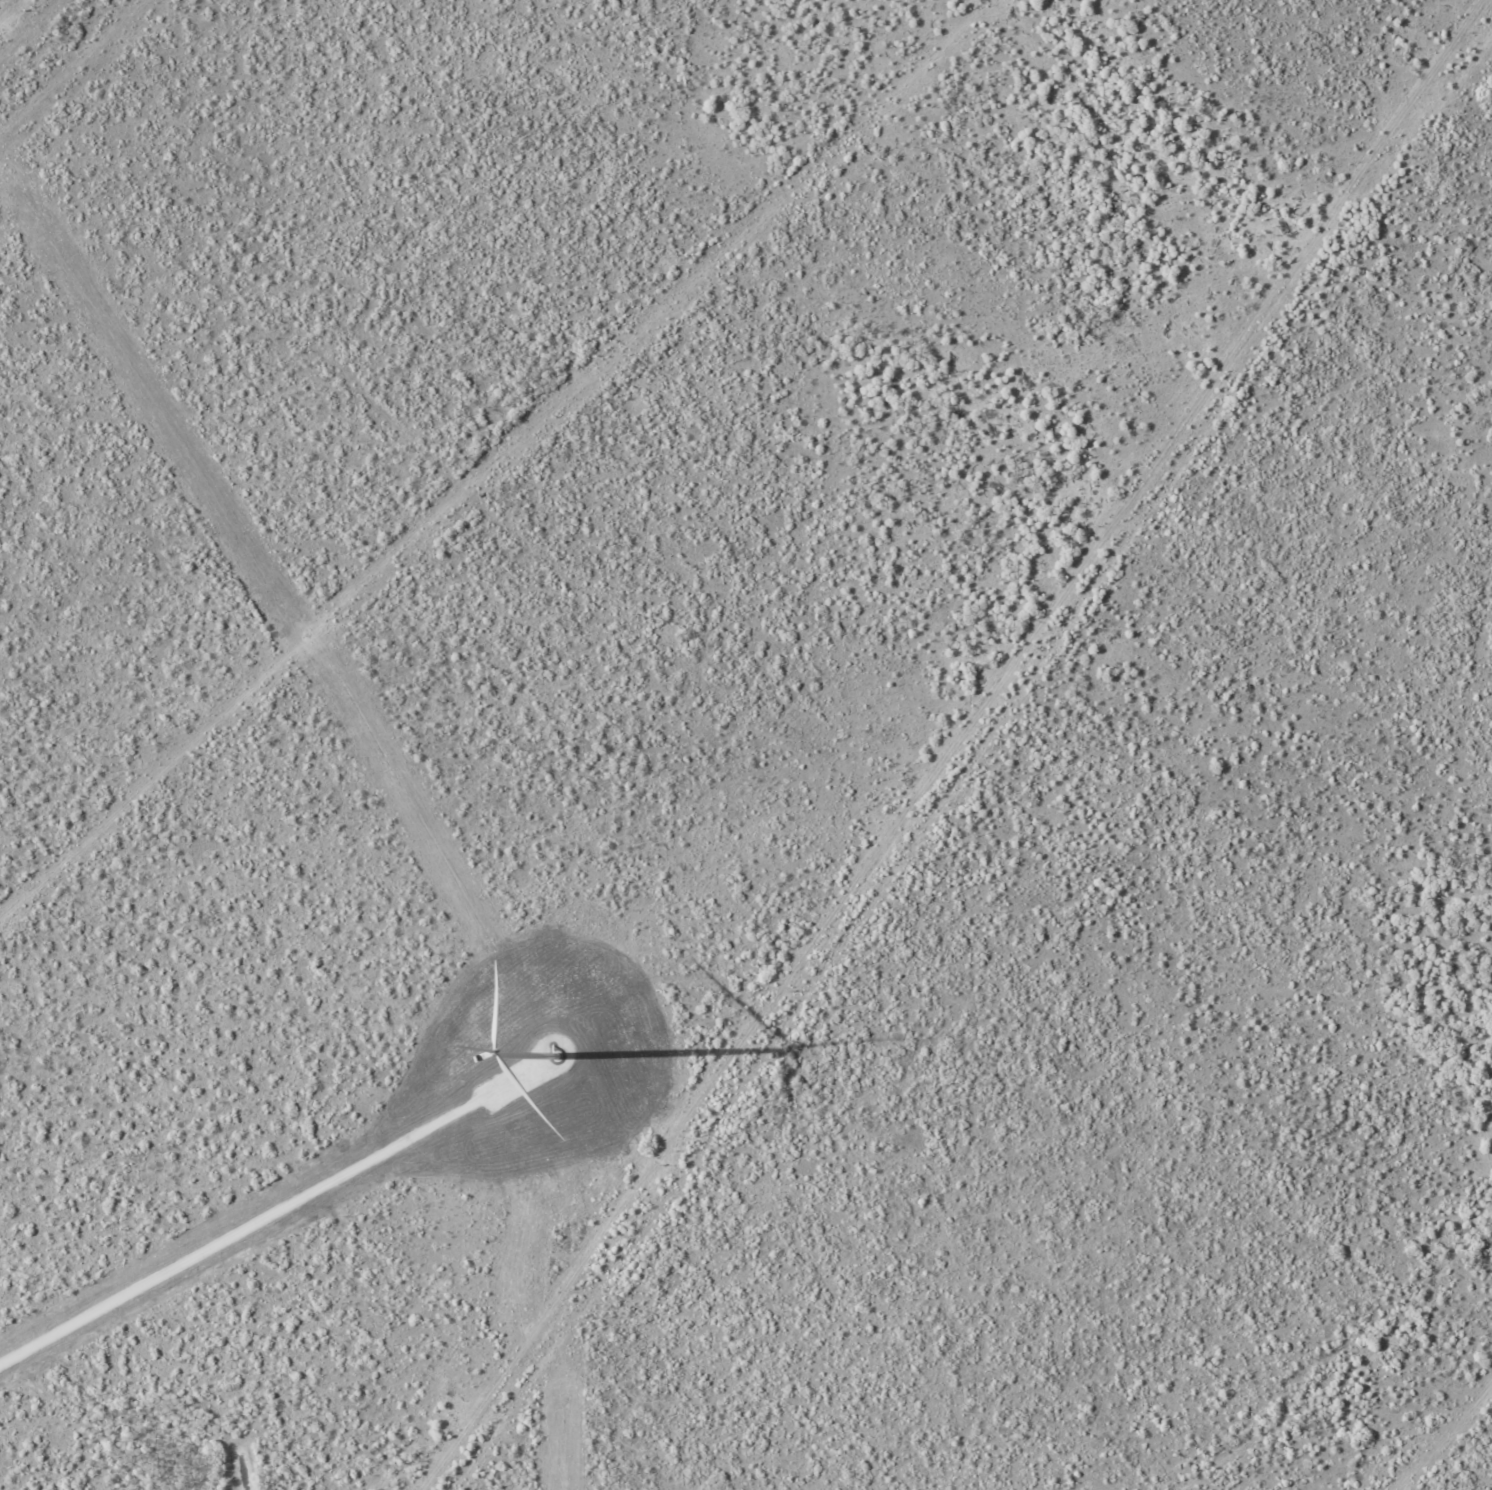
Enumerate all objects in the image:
wind turbine: (558, 1049)

